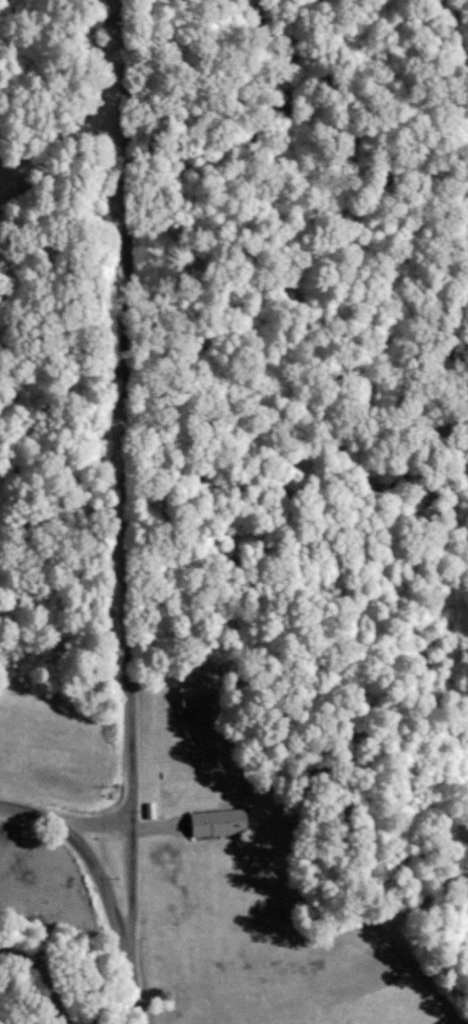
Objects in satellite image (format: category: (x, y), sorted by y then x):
road: (91, 110)
road: (128, 410)
road: (64, 504)
building: (189, 700)
building: (214, 822)
road: (66, 823)
road: (101, 883)
road: (130, 922)

